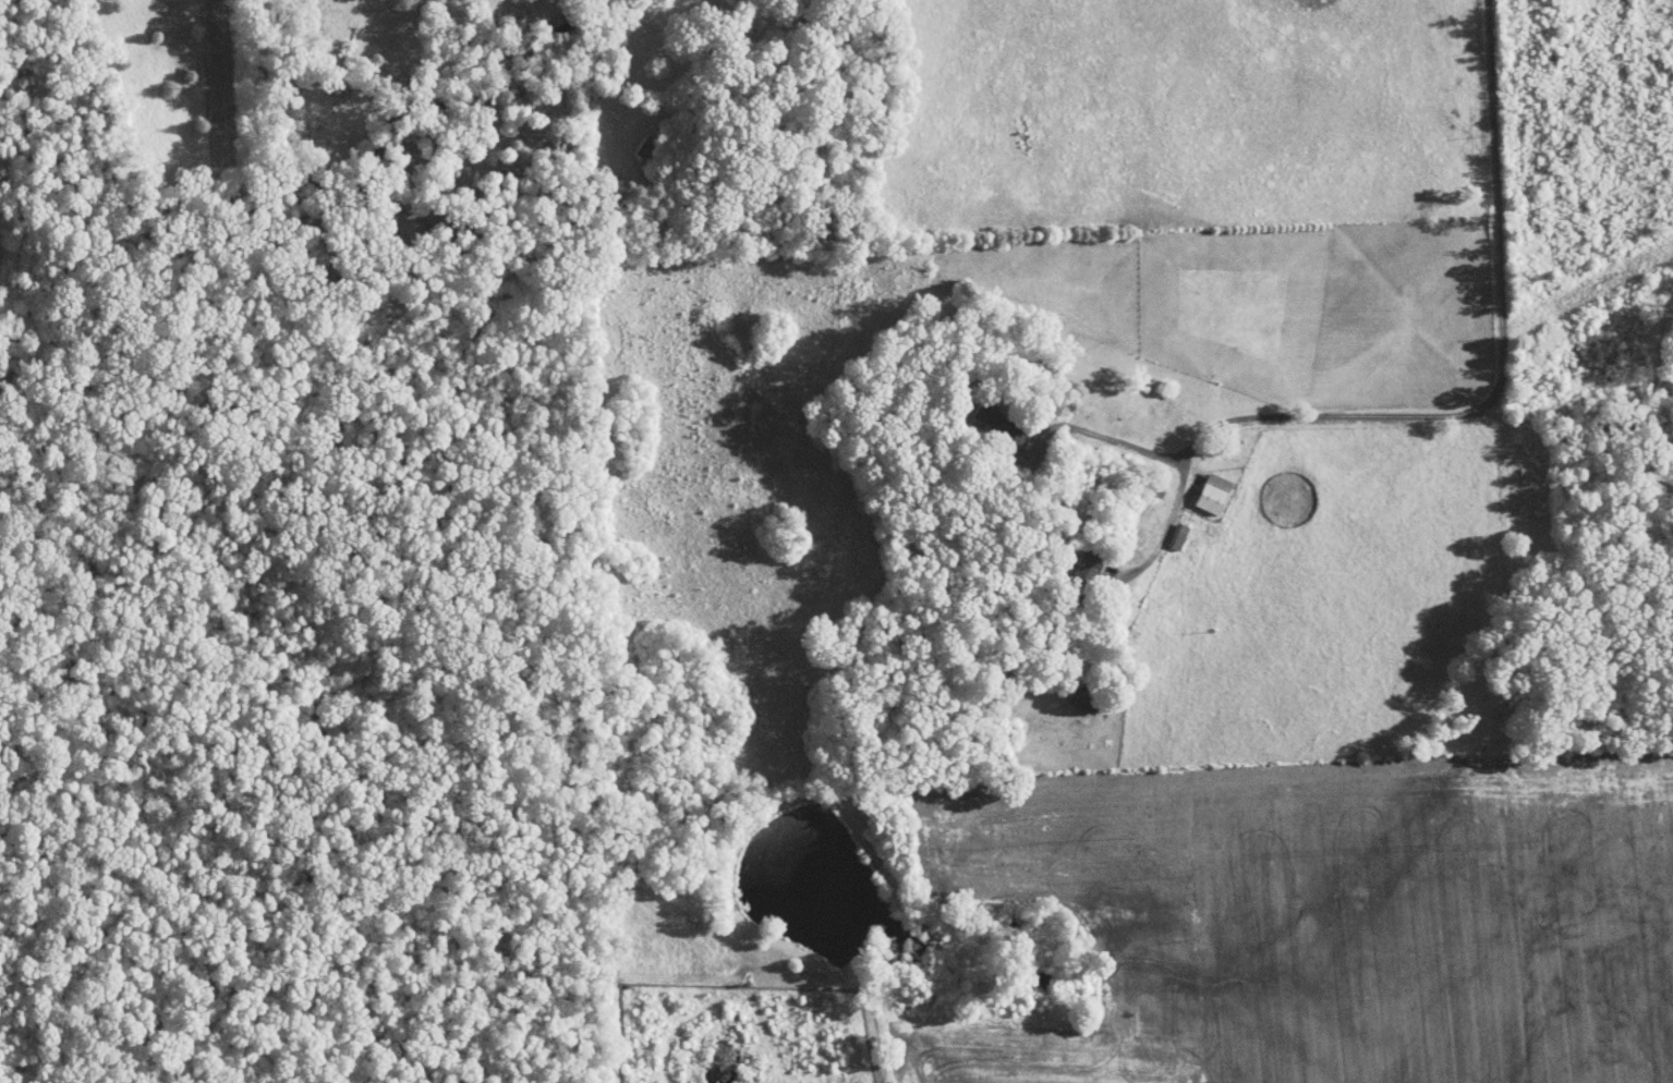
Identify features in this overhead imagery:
road: (1462, 407)
building: (995, 417)
road: (1523, 417)
road: (1099, 435)
building: (1204, 486)
building: (1167, 528)
building: (1072, 693)

